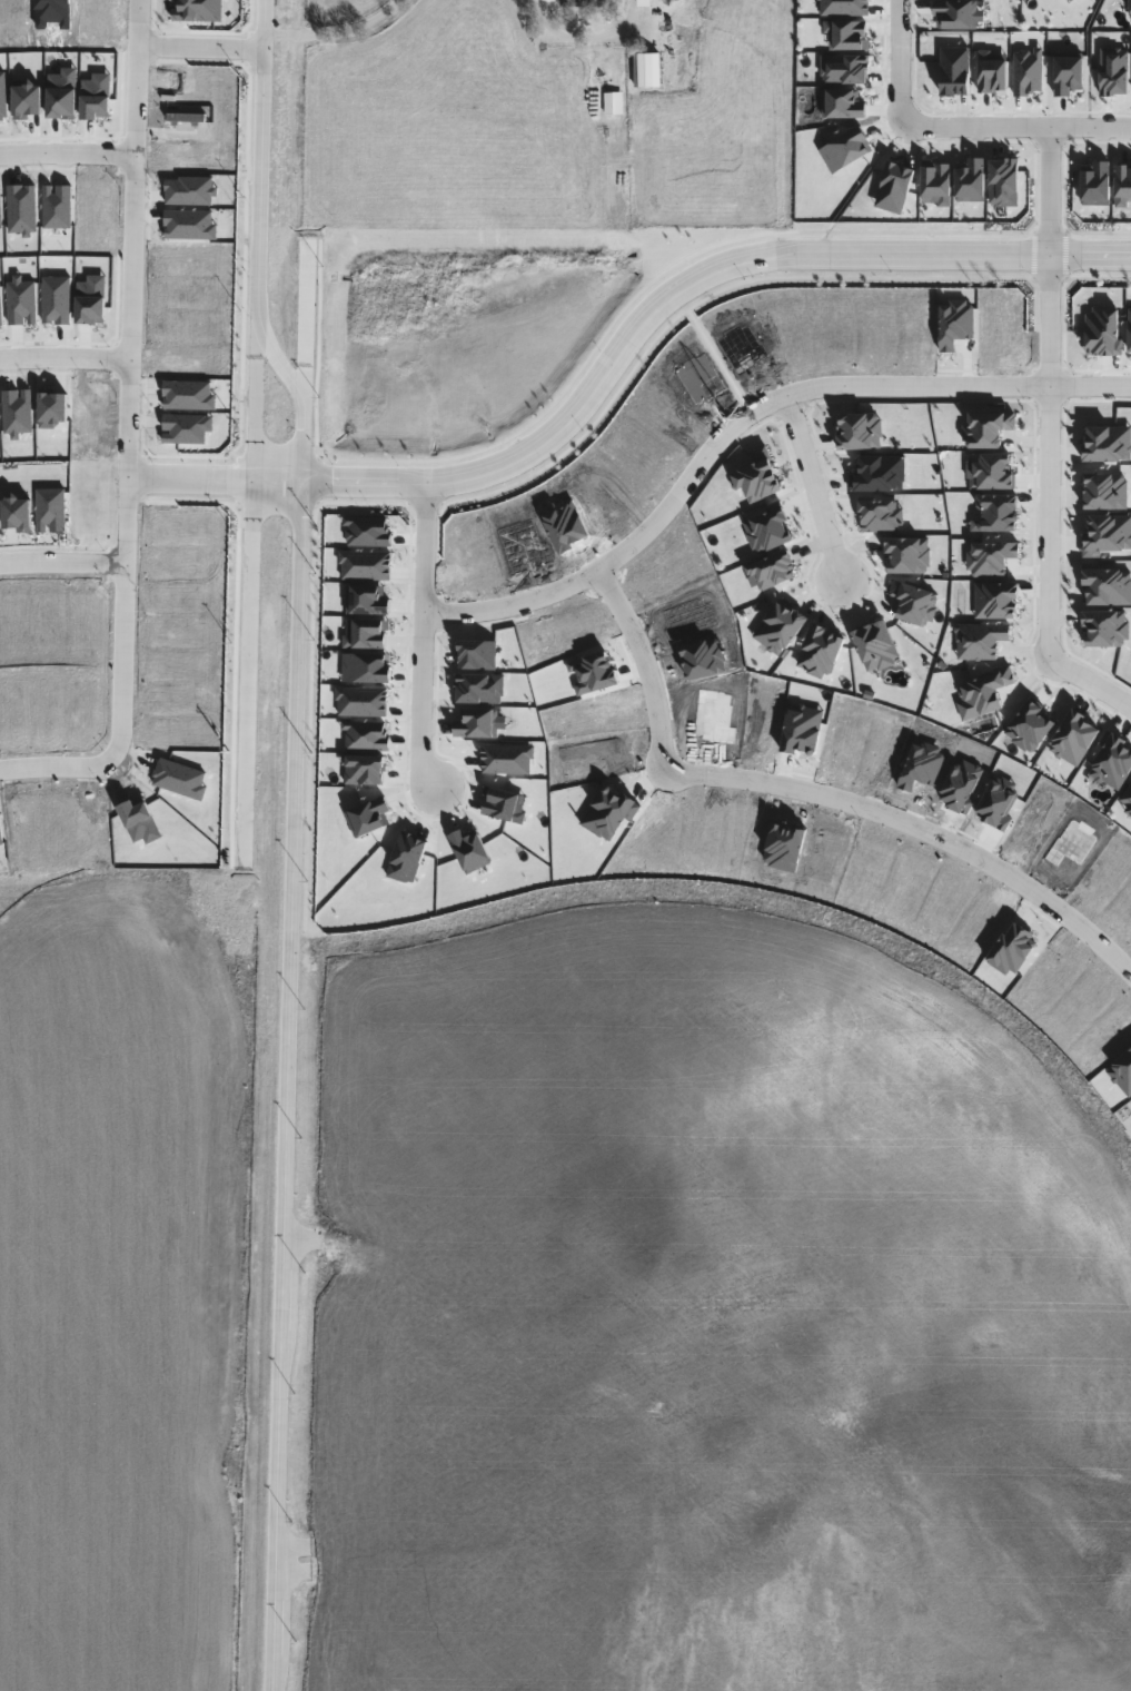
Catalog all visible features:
building: (579, 3)
road: (333, 32)
road: (579, 36)
road: (200, 47)
road: (897, 60)
building: (646, 69)
road: (1016, 127)
road: (68, 155)
road: (260, 246)
road: (1055, 259)
road: (679, 295)
road: (65, 357)
road: (130, 380)
road: (258, 409)
road: (701, 474)
road: (215, 481)
road: (814, 491)
road: (62, 563)
road: (1048, 572)
road: (426, 703)
road: (57, 768)
road: (817, 798)
road: (286, 1087)
crop: (117, 1273)
crop: (712, 1309)

